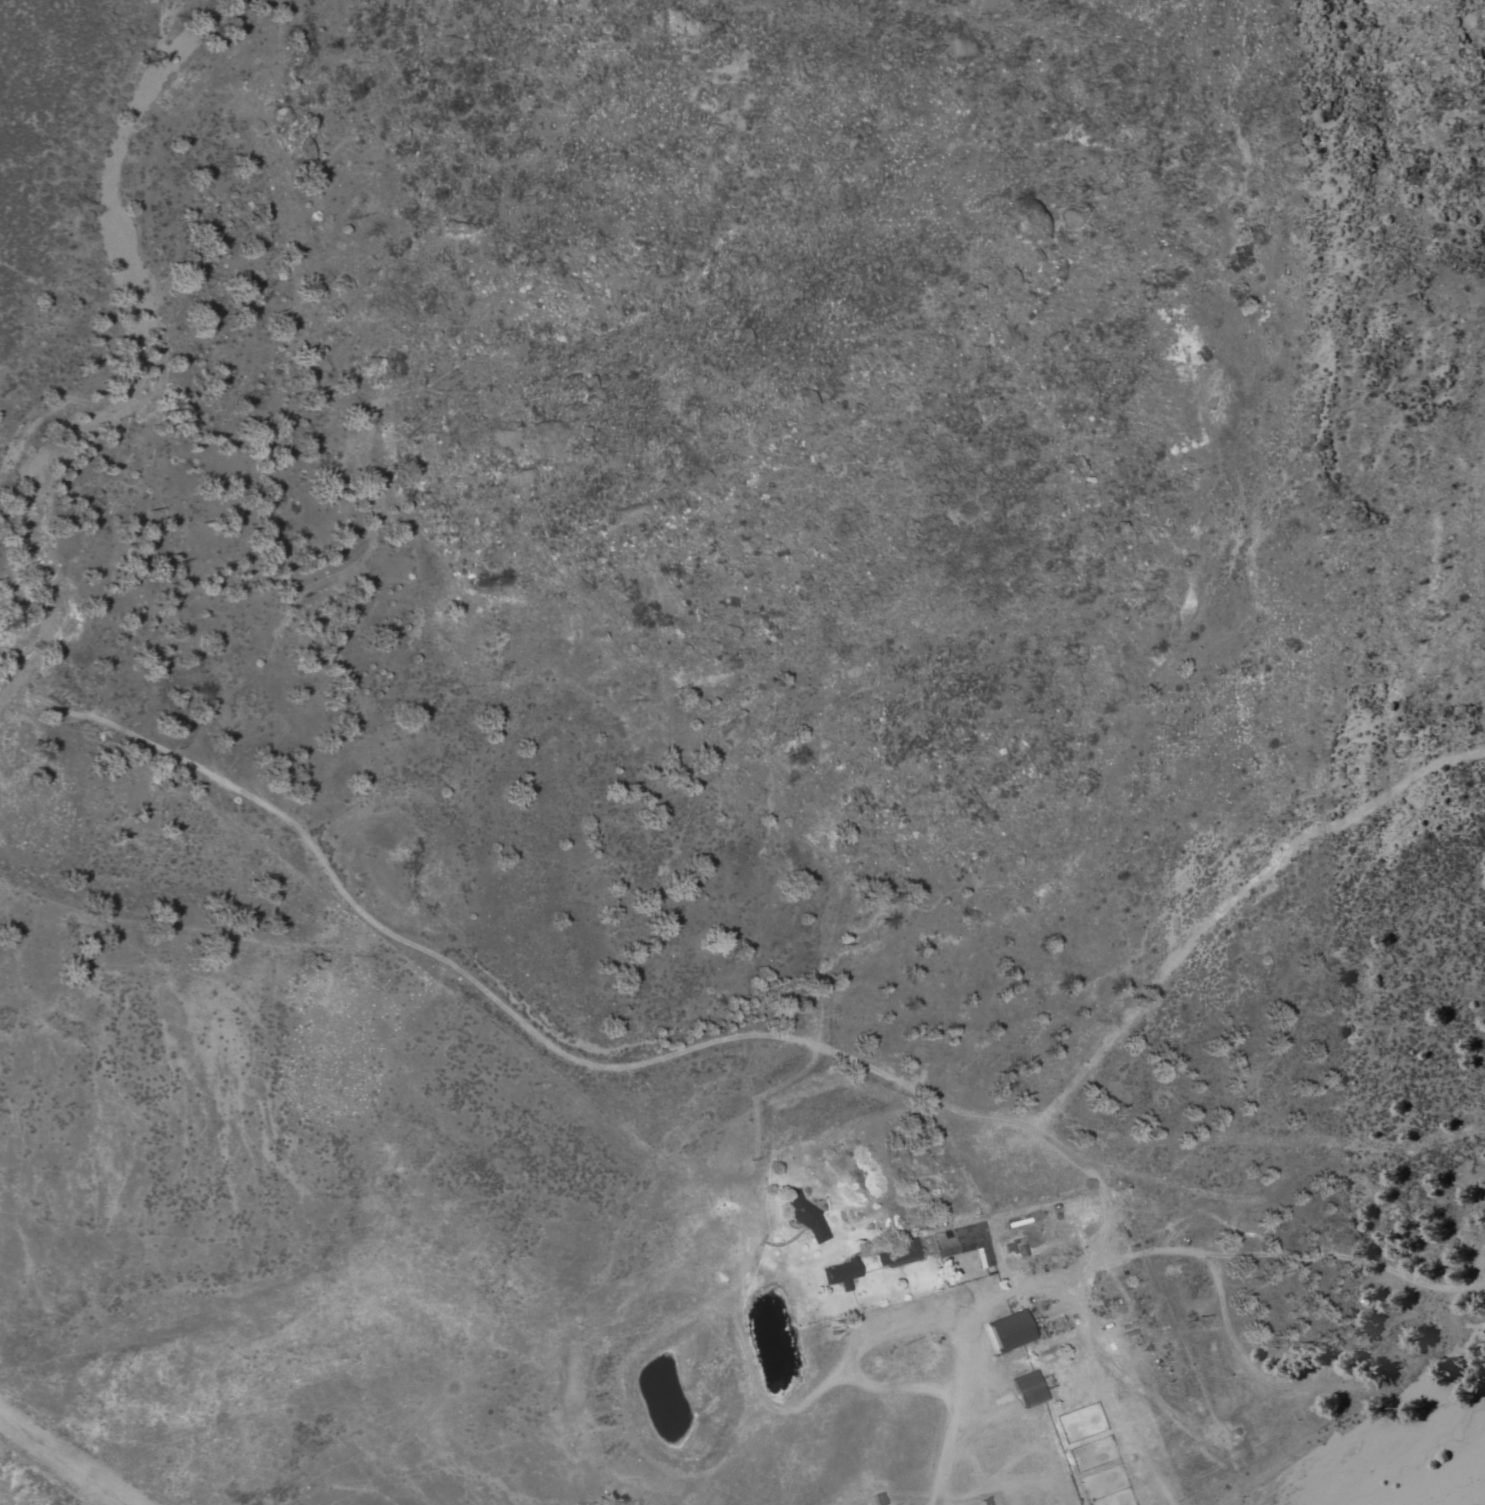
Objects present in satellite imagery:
road: (1210, 593)
road: (708, 1045)
building: (809, 1218)
building: (1016, 1331)
building: (1032, 1390)

